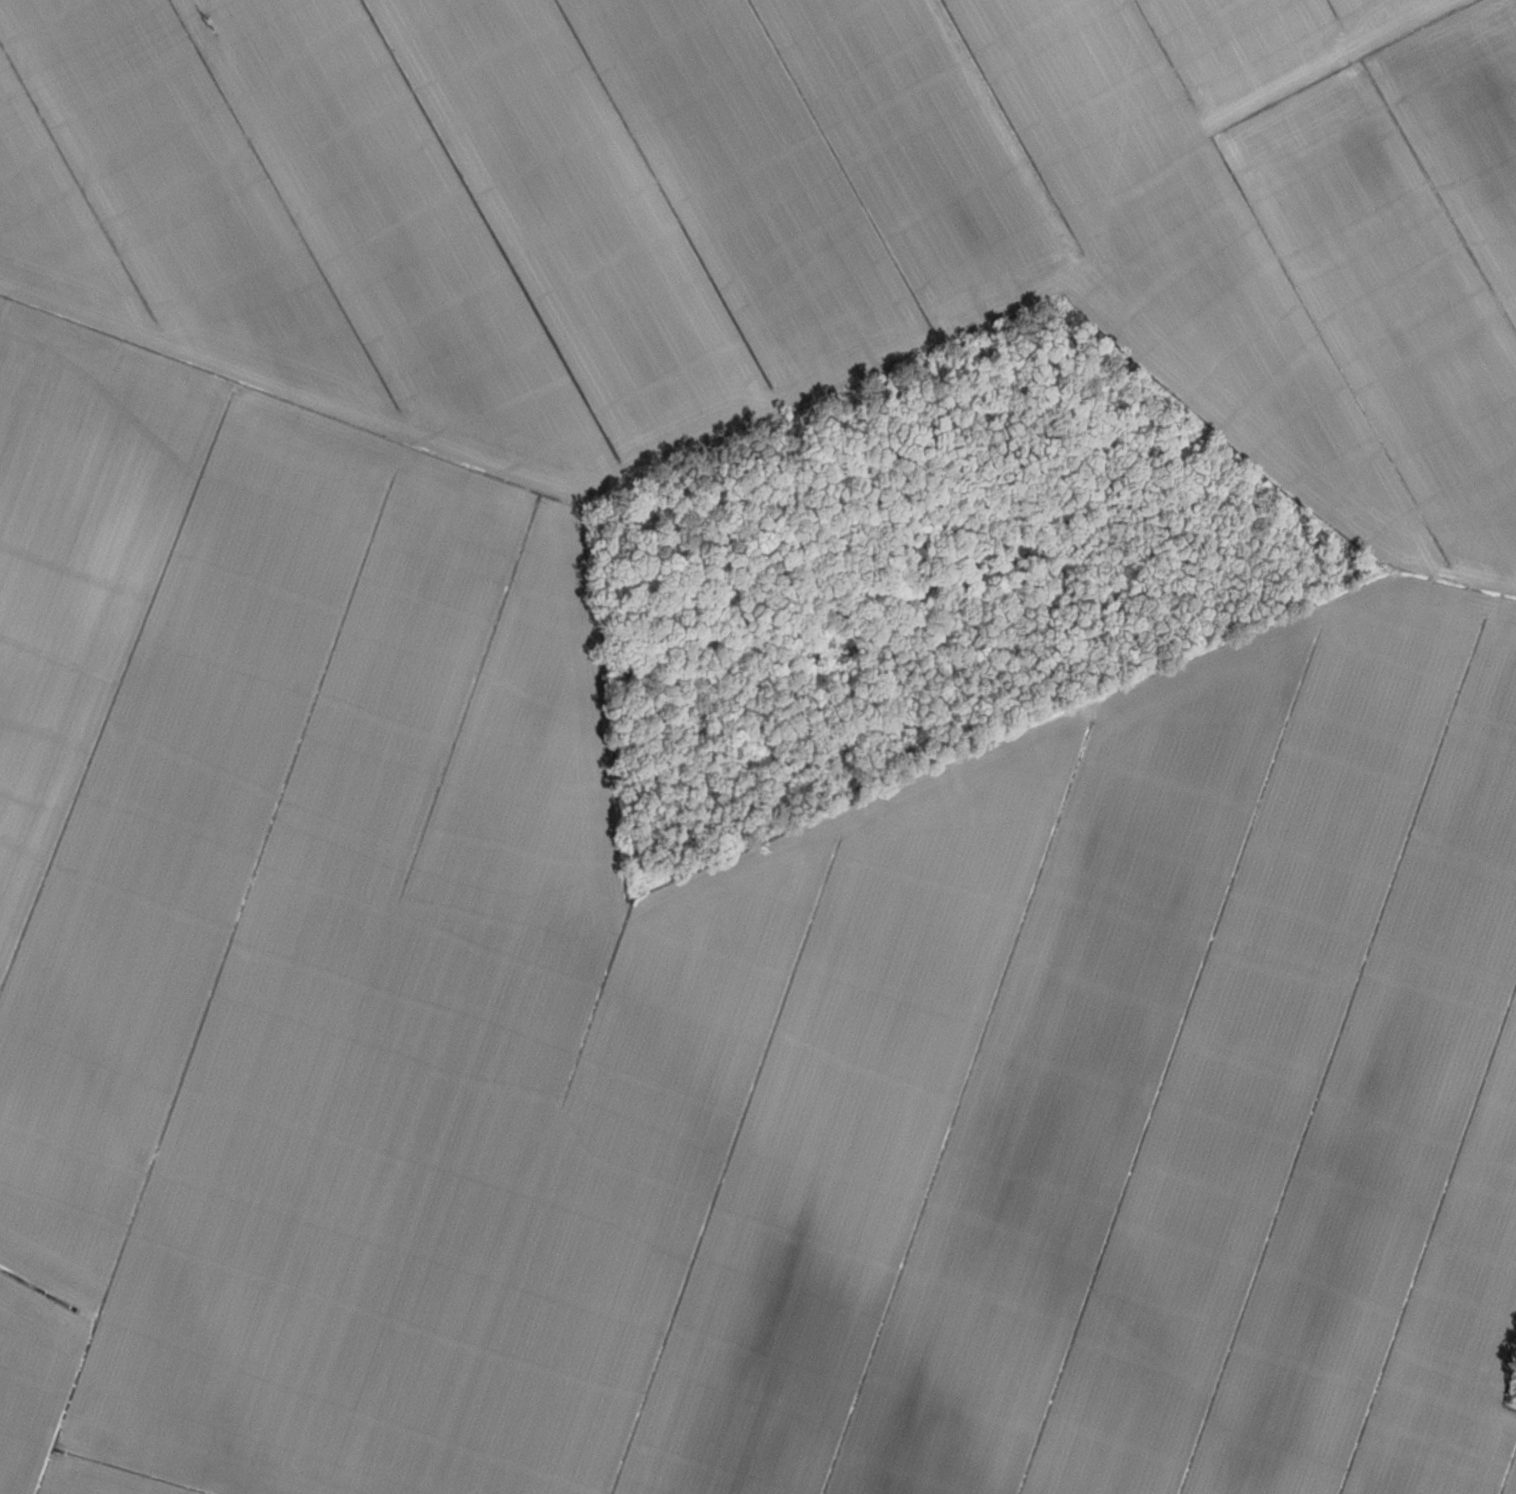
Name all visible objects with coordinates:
power tower: (209, 25)

